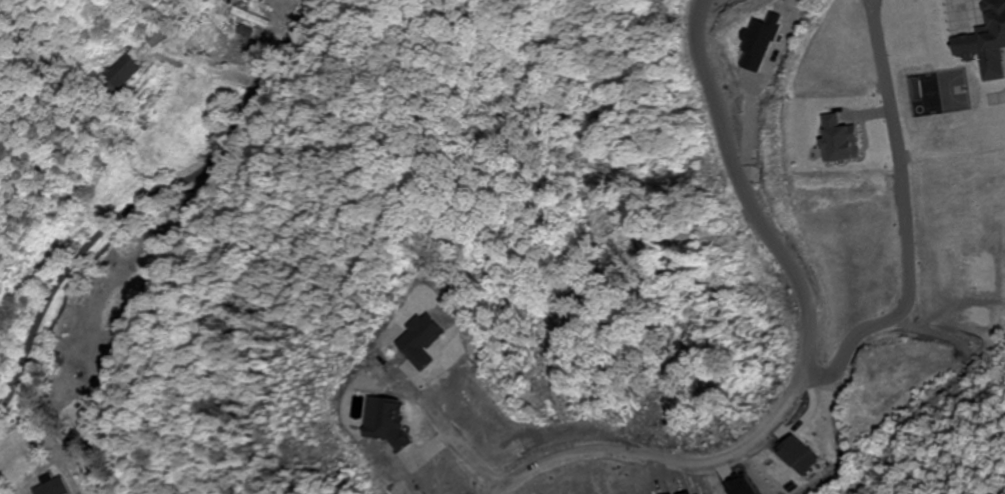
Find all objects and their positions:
building: (250, 15)
building: (156, 35)
building: (986, 43)
building: (120, 75)
road: (144, 195)
road: (800, 298)
building: (98, 480)

